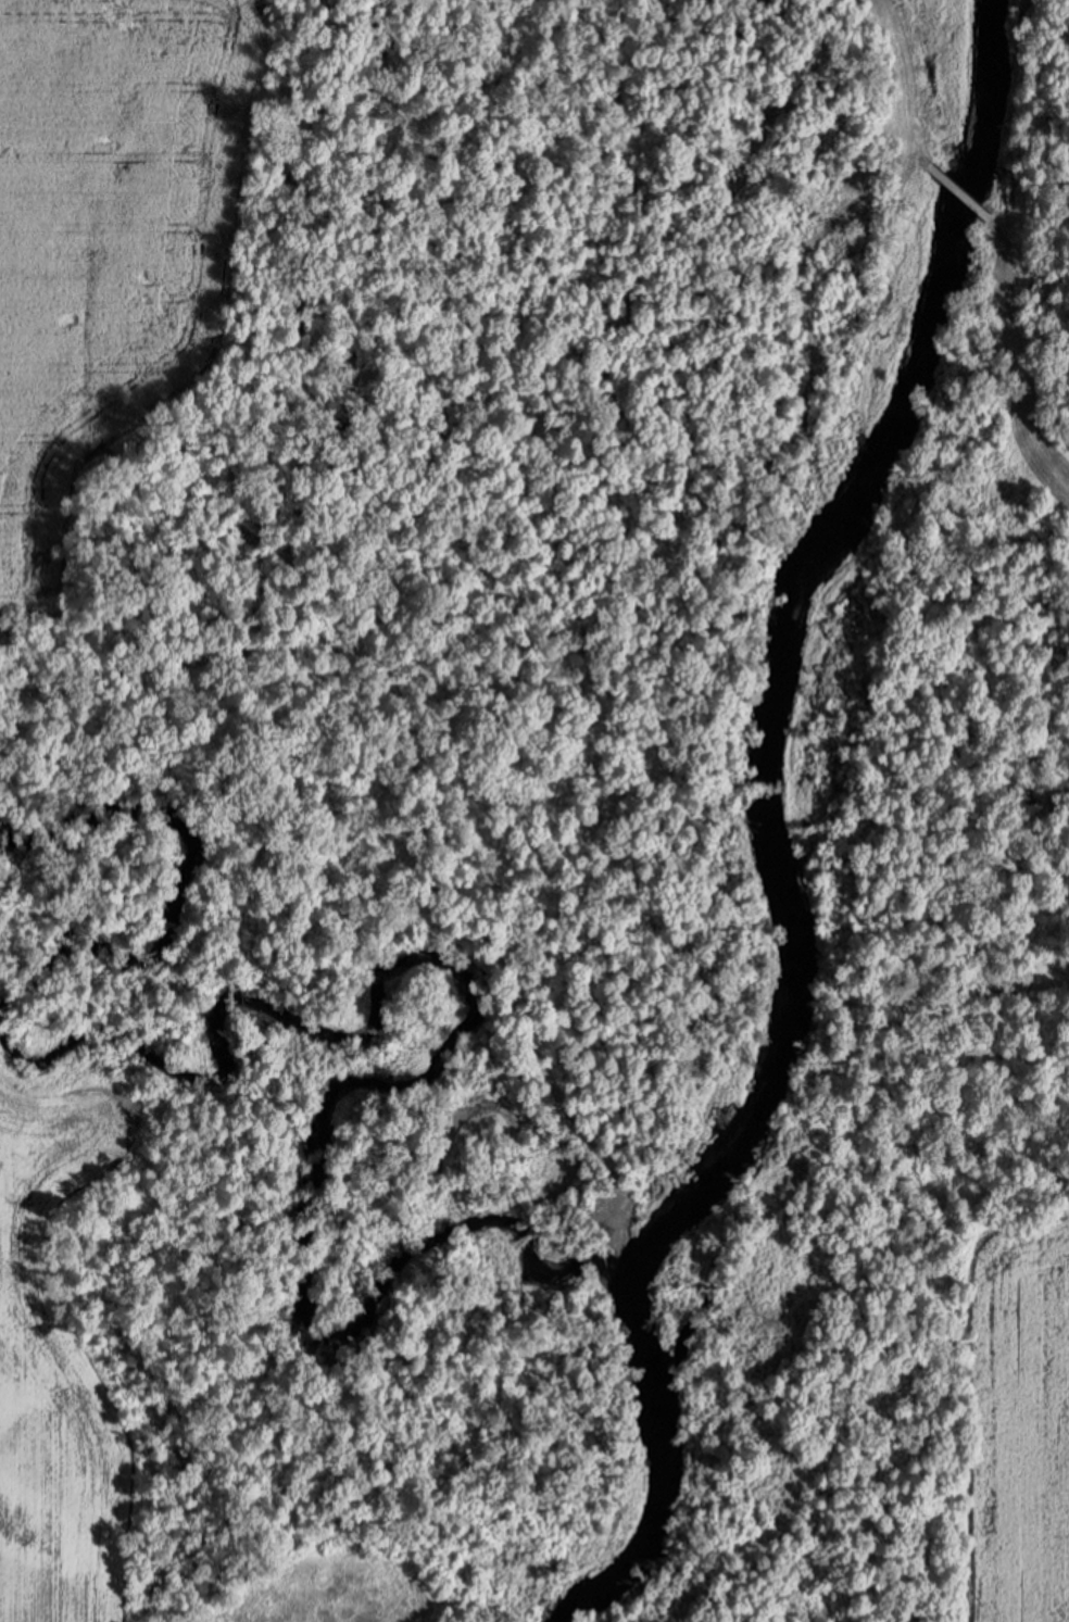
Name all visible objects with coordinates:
river: (782, 817)

